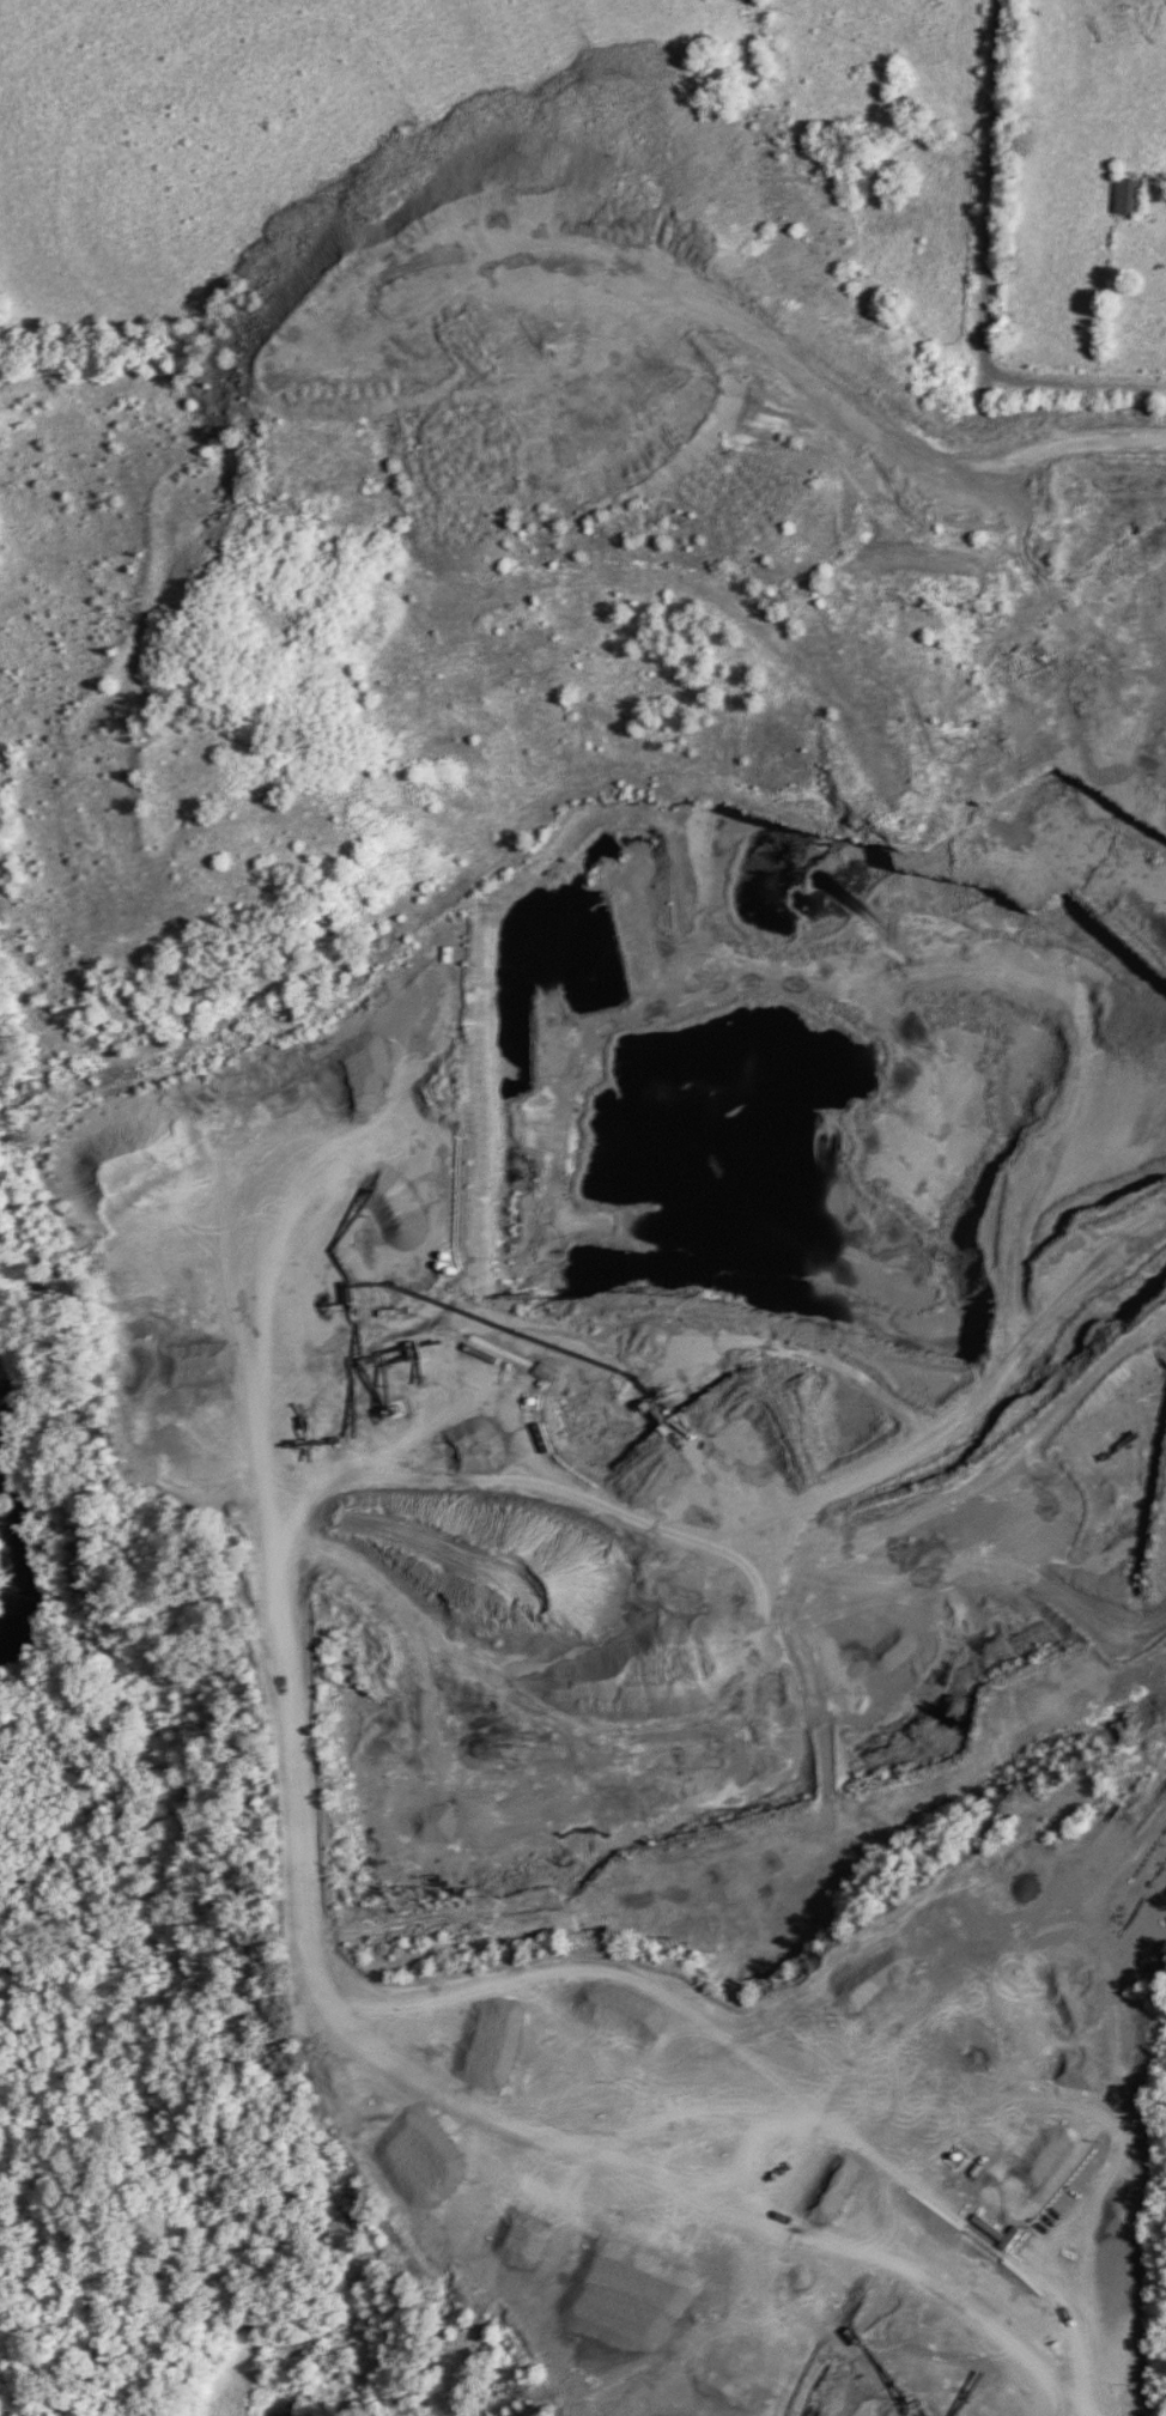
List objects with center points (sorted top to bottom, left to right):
road: (988, 190)
building: (1129, 195)
road: (1074, 387)
road: (1058, 1398)
river: (18, 1536)
road: (970, 1537)
building: (988, 2227)

